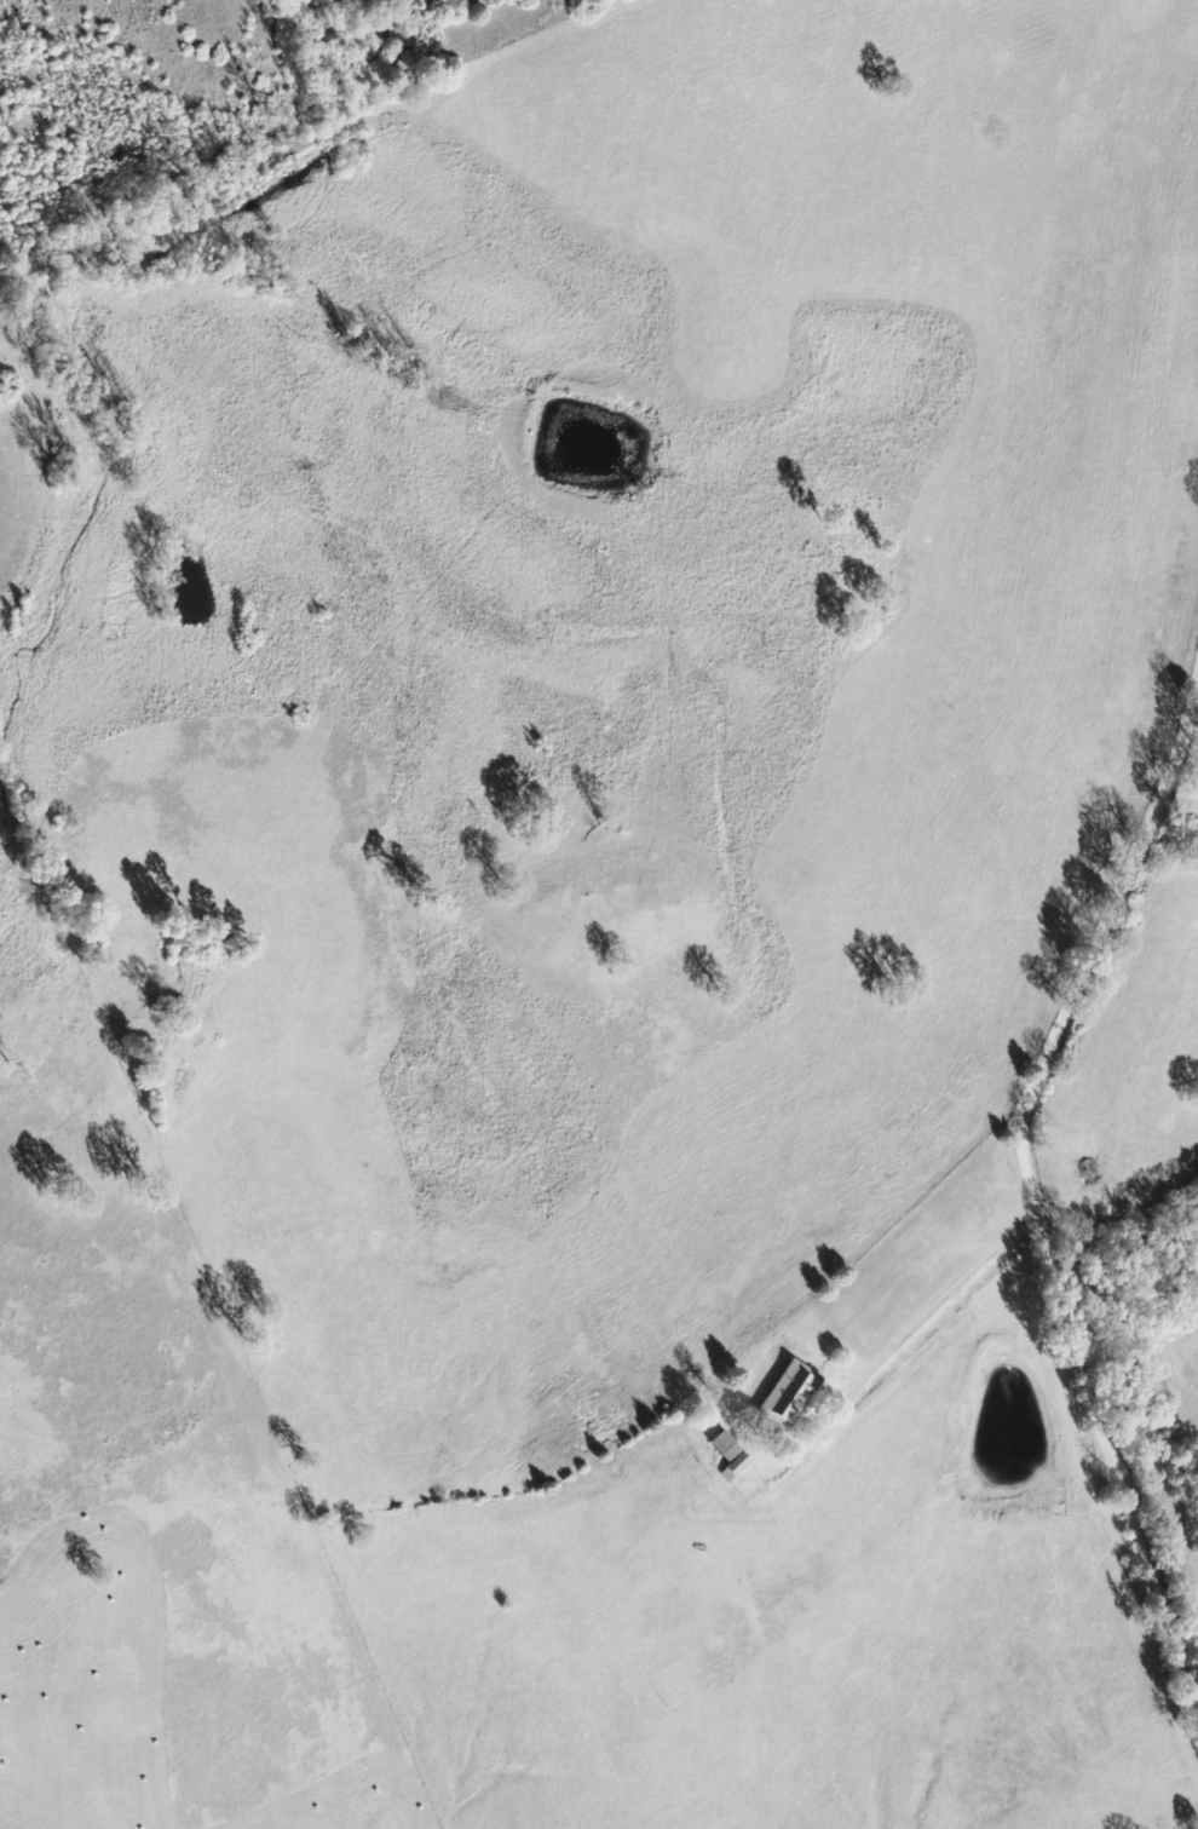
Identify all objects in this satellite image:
road: (1044, 1214)
building: (727, 1455)

